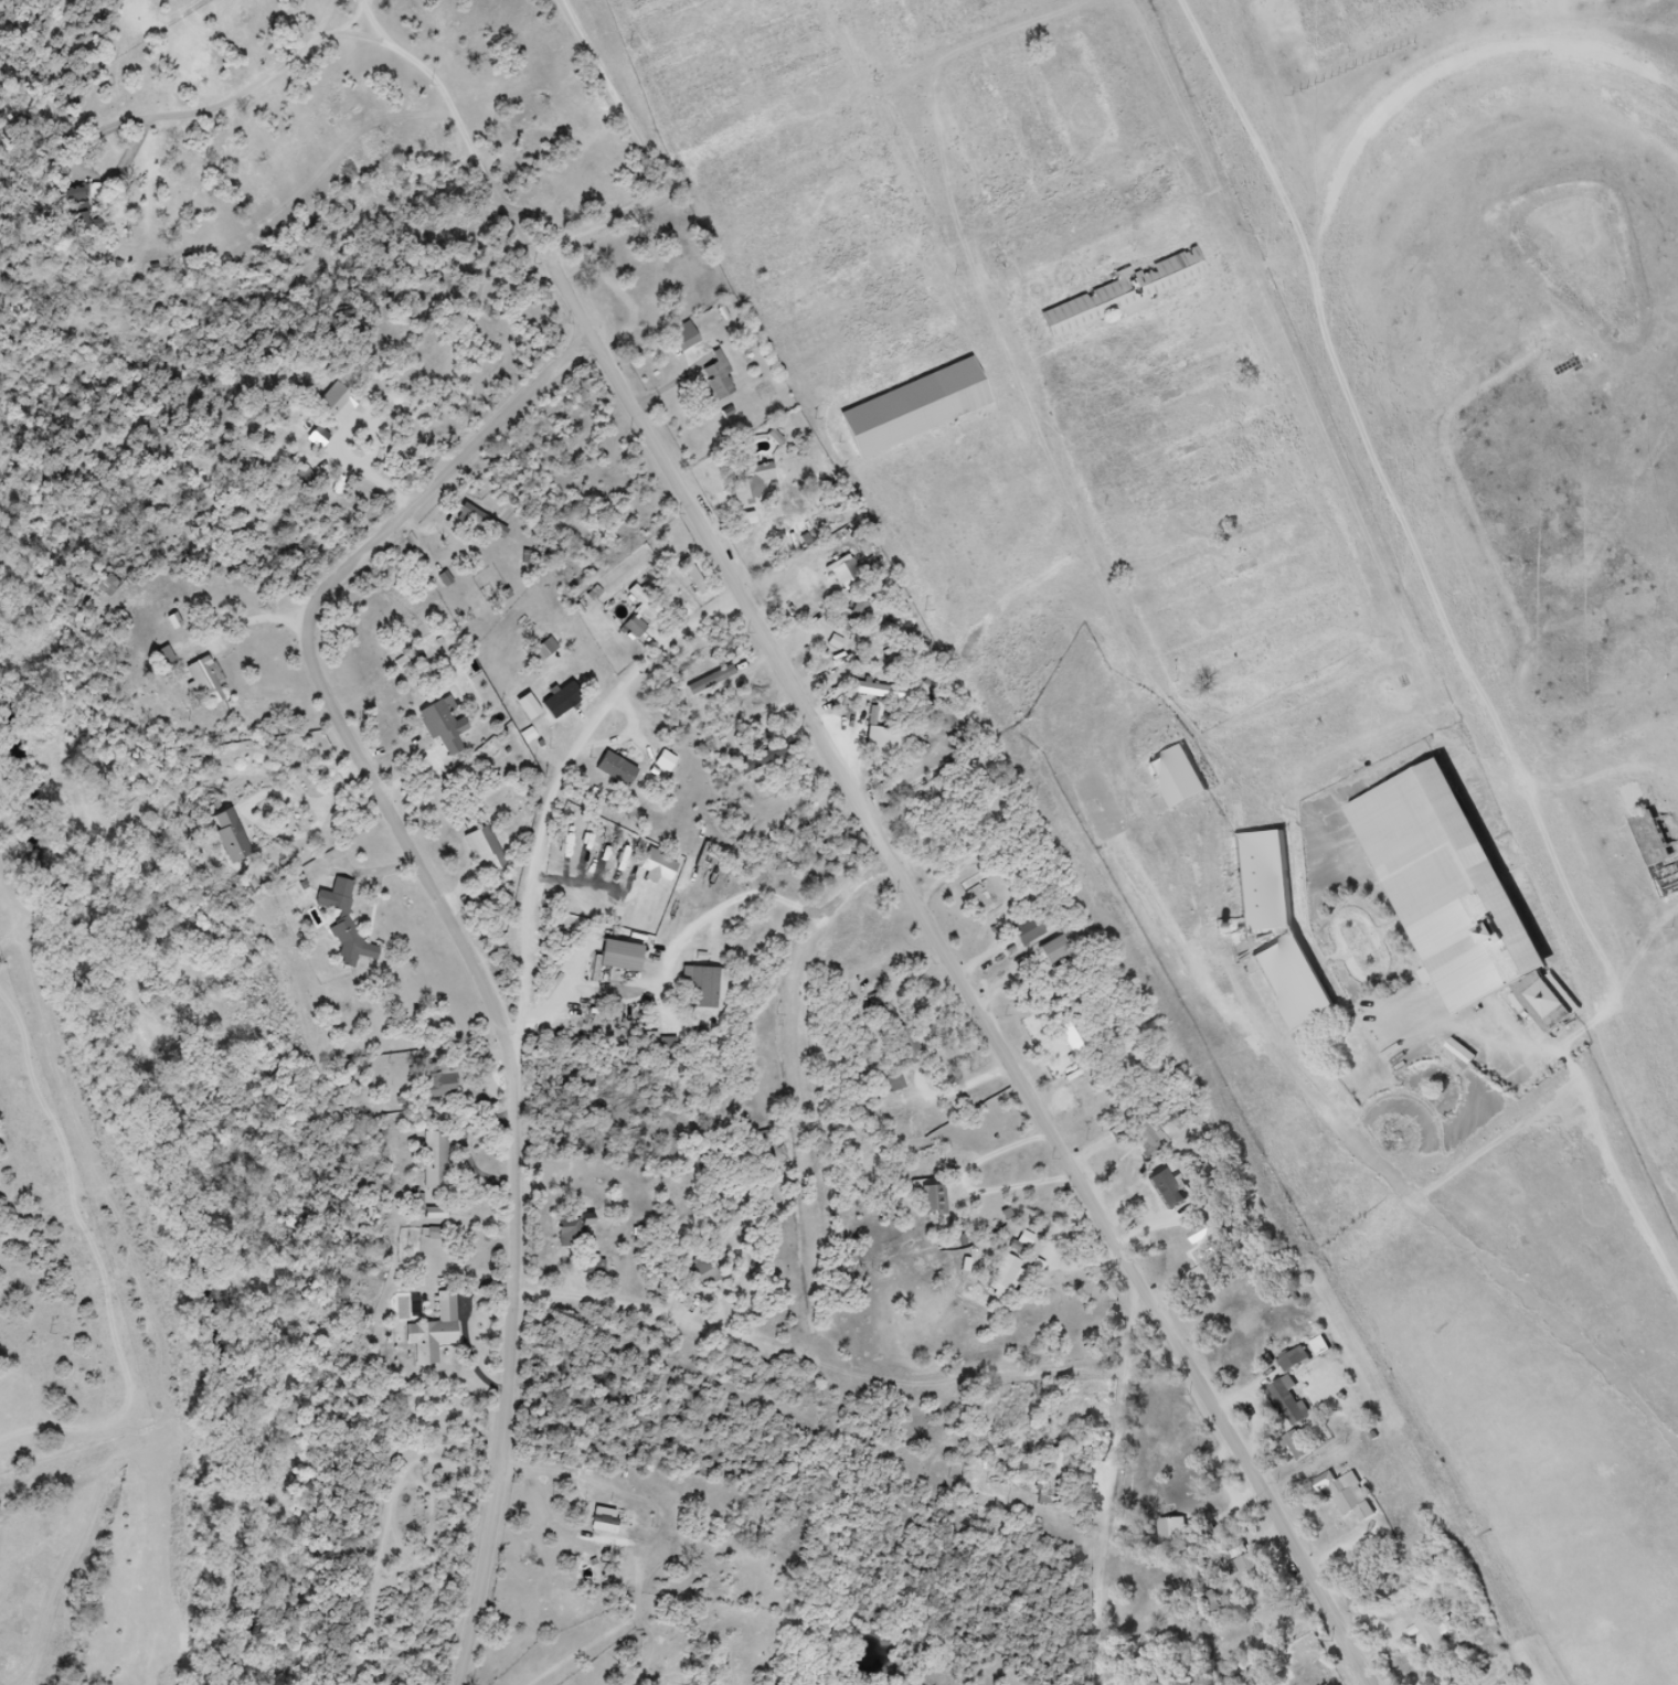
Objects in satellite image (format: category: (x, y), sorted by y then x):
building: (1052, 0)
road: (350, 23)
road: (323, 24)
road: (454, 114)
road: (182, 116)
road: (646, 154)
building: (71, 210)
building: (1171, 276)
building: (687, 337)
building: (721, 382)
building: (330, 403)
building: (907, 406)
building: (310, 436)
track: (1549, 448)
building: (762, 474)
building: (476, 521)
building: (849, 575)
building: (99, 585)
building: (642, 615)
building: (170, 619)
building: (538, 648)
building: (548, 650)
building: (158, 653)
building: (170, 657)
building: (195, 681)
building: (875, 691)
building: (555, 697)
building: (520, 704)
building: (437, 725)
building: (661, 760)
building: (610, 768)
building: (1170, 775)
road: (556, 776)
building: (223, 833)
building: (478, 846)
building: (606, 866)
building: (655, 867)
building: (1253, 881)
building: (1455, 891)
road: (774, 898)
building: (348, 923)
building: (1032, 930)
road: (471, 942)
building: (1056, 950)
building: (624, 957)
road: (957, 961)
building: (1285, 979)
building: (707, 989)
building: (1075, 1037)
building: (910, 1045)
building: (446, 1083)
building: (1147, 1141)
road: (1348, 1141)
building: (437, 1161)
building: (936, 1201)
building: (1168, 1203)
building: (576, 1230)
building: (1210, 1239)
building: (1010, 1273)
building: (437, 1331)
building: (1323, 1347)
building: (1295, 1361)
road: (1157, 1363)
building: (1291, 1401)
building: (1299, 1446)
road: (1107, 1474)
building: (1055, 1475)
building: (1341, 1493)
building: (1168, 1533)
building: (1202, 1534)
building: (1241, 1568)
building: (1234, 1610)
building: (1429, 1635)

